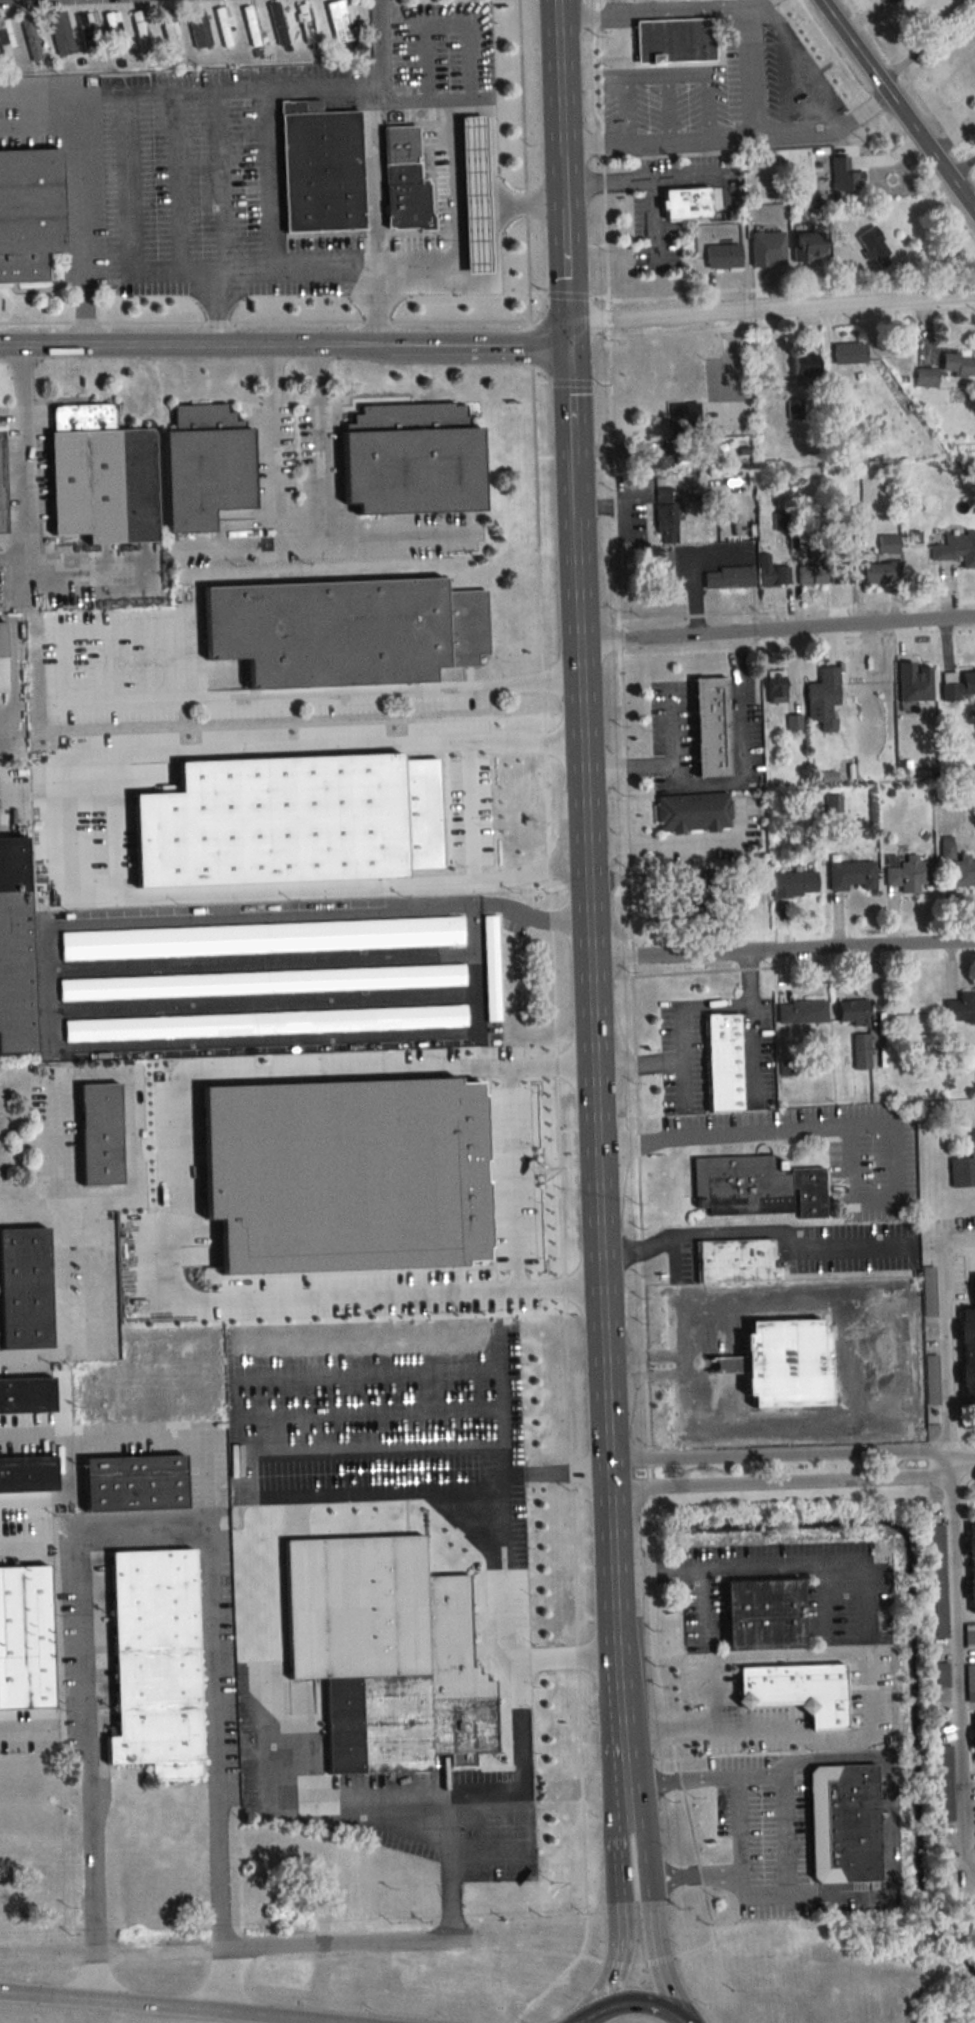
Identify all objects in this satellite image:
road: (664, 12)
building: (341, 22)
building: (278, 24)
building: (307, 24)
building: (251, 27)
road: (891, 27)
building: (199, 29)
building: (169, 30)
building: (112, 31)
building: (141, 31)
building: (85, 33)
building: (59, 34)
building: (30, 37)
building: (6, 39)
building: (680, 41)
road: (925, 44)
road: (752, 73)
road: (128, 98)
road: (39, 101)
road: (471, 101)
road: (559, 101)
road: (896, 108)
road: (951, 135)
road: (730, 139)
road: (914, 167)
building: (322, 168)
building: (842, 174)
road: (638, 178)
road: (267, 180)
building: (406, 180)
road: (218, 182)
road: (175, 183)
building: (477, 193)
road: (80, 198)
building: (689, 203)
building: (30, 213)
road: (372, 218)
road: (653, 223)
building: (806, 246)
building: (767, 249)
building: (723, 256)
road: (255, 268)
road: (567, 274)
road: (474, 281)
road: (769, 313)
traffic signals: (570, 345)
road: (473, 346)
road: (136, 347)
road: (325, 347)
building: (847, 353)
building: (956, 365)
building: (801, 368)
building: (924, 377)
road: (571, 393)
building: (680, 412)
road: (320, 441)
road: (275, 443)
road: (26, 455)
building: (653, 459)
building: (414, 460)
building: (208, 467)
building: (102, 476)
building: (2, 481)
building: (664, 523)
road: (328, 535)
building: (887, 544)
building: (955, 548)
building: (658, 565)
building: (839, 571)
building: (875, 572)
building: (769, 573)
building: (809, 575)
building: (726, 577)
road: (776, 630)
building: (346, 631)
building: (3, 659)
building: (957, 685)
building: (773, 688)
road: (325, 695)
building: (821, 698)
building: (709, 727)
road: (628, 764)
road: (733, 783)
road: (2, 799)
building: (690, 812)
road: (468, 813)
road: (62, 831)
road: (684, 839)
building: (958, 866)
building: (907, 874)
building: (849, 876)
building: (793, 884)
building: (15, 890)
building: (262, 938)
road: (783, 945)
building: (492, 968)
building: (262, 983)
road: (47, 985)
building: (960, 1007)
building: (799, 1012)
building: (850, 1012)
road: (681, 1022)
building: (265, 1024)
road: (752, 1024)
building: (858, 1052)
building: (724, 1061)
road: (637, 1063)
road: (116, 1074)
road: (596, 1101)
building: (312, 1126)
road: (837, 1126)
building: (102, 1135)
building: (964, 1164)
building: (204, 1170)
road: (509, 1177)
building: (755, 1184)
road: (639, 1216)
road: (760, 1231)
parking lot: (810, 1250)
road: (672, 1258)
building: (736, 1261)
road: (70, 1282)
building: (25, 1289)
building: (532, 1295)
building: (966, 1352)
building: (786, 1364)
road: (38, 1370)
road: (57, 1370)
building: (27, 1397)
road: (166, 1426)
road: (64, 1430)
road: (959, 1459)
road: (939, 1464)
road: (564, 1470)
building: (28, 1474)
building: (138, 1482)
road: (147, 1528)
road: (947, 1548)
road: (501, 1554)
road: (799, 1564)
building: (972, 1565)
road: (656, 1570)
road: (702, 1605)
building: (765, 1614)
building: (971, 1635)
building: (26, 1637)
road: (577, 1656)
building: (157, 1663)
road: (576, 1680)
building: (971, 1683)
building: (799, 1691)
road: (711, 1695)
road: (518, 1713)
building: (407, 1725)
road: (709, 1727)
road: (22, 1731)
road: (489, 1788)
road: (739, 1801)
road: (687, 1817)
building: (845, 1824)
road: (681, 1876)
road: (651, 1886)
road: (618, 1887)
road: (305, 1946)
road: (591, 1957)
road: (658, 1959)
road: (617, 1963)
road: (638, 1964)
road: (635, 2000)
road: (164, 2006)
road: (588, 2016)
road: (678, 2019)

